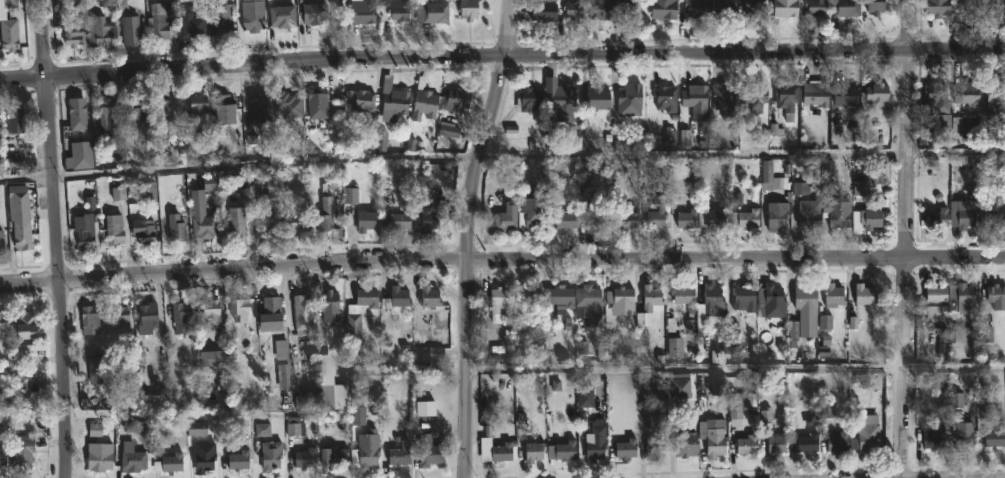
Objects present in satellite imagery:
building: (875, 6)
building: (969, 6)
building: (631, 7)
building: (695, 7)
building: (785, 7)
building: (994, 7)
building: (723, 8)
building: (752, 8)
building: (817, 8)
building: (846, 8)
building: (937, 8)
building: (468, 9)
building: (543, 9)
building: (603, 9)
building: (663, 9)
building: (398, 10)
building: (362, 11)
building: (431, 11)
building: (314, 13)
building: (576, 14)
building: (252, 15)
building: (281, 16)
building: (223, 19)
building: (190, 20)
building: (159, 22)
building: (97, 30)
building: (129, 30)
building: (72, 32)
building: (9, 34)
road: (502, 53)
building: (816, 93)
building: (875, 93)
building: (967, 93)
building: (845, 94)
building: (629, 95)
building: (694, 95)
building: (786, 95)
building: (754, 96)
building: (665, 97)
building: (722, 97)
building: (527, 98)
building: (594, 98)
building: (995, 98)
building: (360, 99)
building: (457, 99)
building: (934, 99)
building: (392, 100)
building: (423, 101)
building: (317, 102)
building: (287, 104)
building: (560, 104)
building: (258, 105)
building: (199, 108)
building: (223, 109)
building: (167, 111)
building: (105, 112)
building: (76, 115)
building: (133, 115)
building: (12, 116)
building: (15, 124)
building: (963, 127)
road: (502, 159)
building: (770, 177)
building: (18, 194)
building: (835, 207)
building: (656, 208)
building: (531, 211)
building: (594, 211)
building: (267, 212)
building: (626, 215)
building: (777, 215)
building: (200, 216)
building: (506, 217)
building: (938, 217)
building: (993, 217)
building: (748, 218)
building: (963, 218)
building: (688, 219)
building: (716, 219)
building: (808, 219)
building: (326, 220)
building: (365, 220)
building: (399, 220)
building: (429, 220)
building: (565, 220)
building: (866, 220)
building: (235, 222)
building: (295, 222)
building: (174, 228)
building: (113, 229)
building: (84, 230)
building: (142, 231)
building: (20, 234)
road: (467, 236)
road: (57, 238)
road: (905, 238)
building: (1, 240)
road: (502, 259)
building: (833, 294)
building: (863, 294)
building: (429, 296)
building: (528, 296)
building: (620, 296)
building: (684, 296)
building: (996, 296)
building: (650, 297)
building: (963, 297)
building: (395, 298)
building: (806, 298)
building: (499, 299)
building: (560, 299)
building: (743, 299)
building: (936, 299)
building: (772, 301)
building: (588, 303)
building: (714, 303)
building: (329, 306)
building: (301, 312)
building: (358, 312)
building: (269, 313)
building: (209, 314)
building: (179, 316)
building: (237, 316)
building: (119, 318)
building: (147, 318)
building: (89, 320)
building: (29, 321)
building: (3, 323)
building: (29, 347)
building: (282, 351)
building: (214, 358)
building: (96, 368)
road: (736, 371)
building: (161, 375)
building: (284, 378)
building: (679, 388)
building: (584, 396)
building: (153, 401)
building: (737, 407)
building: (198, 428)
building: (867, 432)
building: (933, 436)
building: (965, 436)
building: (995, 437)
building: (712, 440)
building: (595, 441)
building: (838, 442)
building: (776, 443)
building: (805, 443)
building: (684, 444)
building: (746, 444)
building: (493, 446)
building: (365, 447)
building: (625, 448)
building: (654, 449)
building: (561, 450)
building: (427, 451)
building: (21, 452)
building: (533, 452)
building: (398, 454)
building: (2, 455)
building: (270, 455)
building: (330, 455)
building: (203, 457)
building: (304, 458)
building: (238, 460)
building: (98, 461)
building: (132, 461)
building: (167, 463)
road: (1001, 477)

